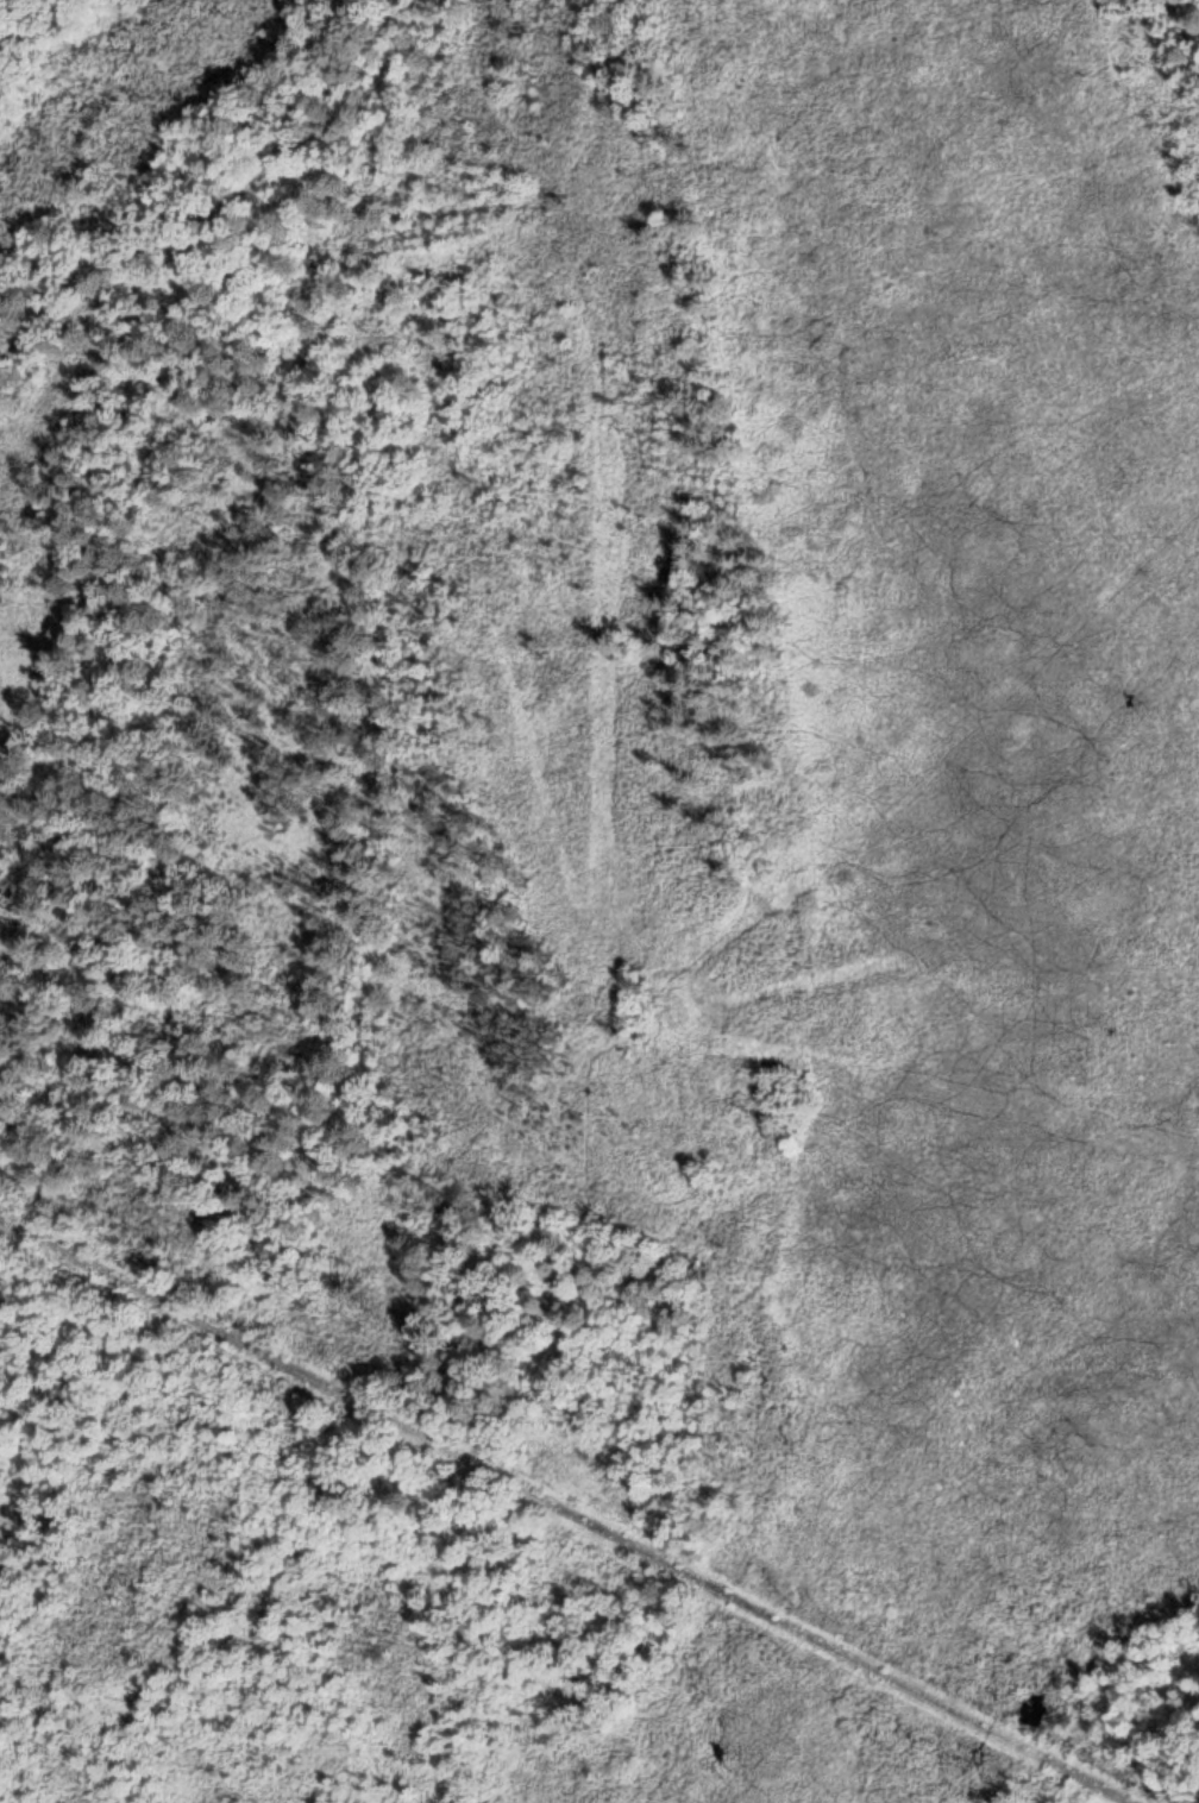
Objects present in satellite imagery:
railway: (566, 1510)

